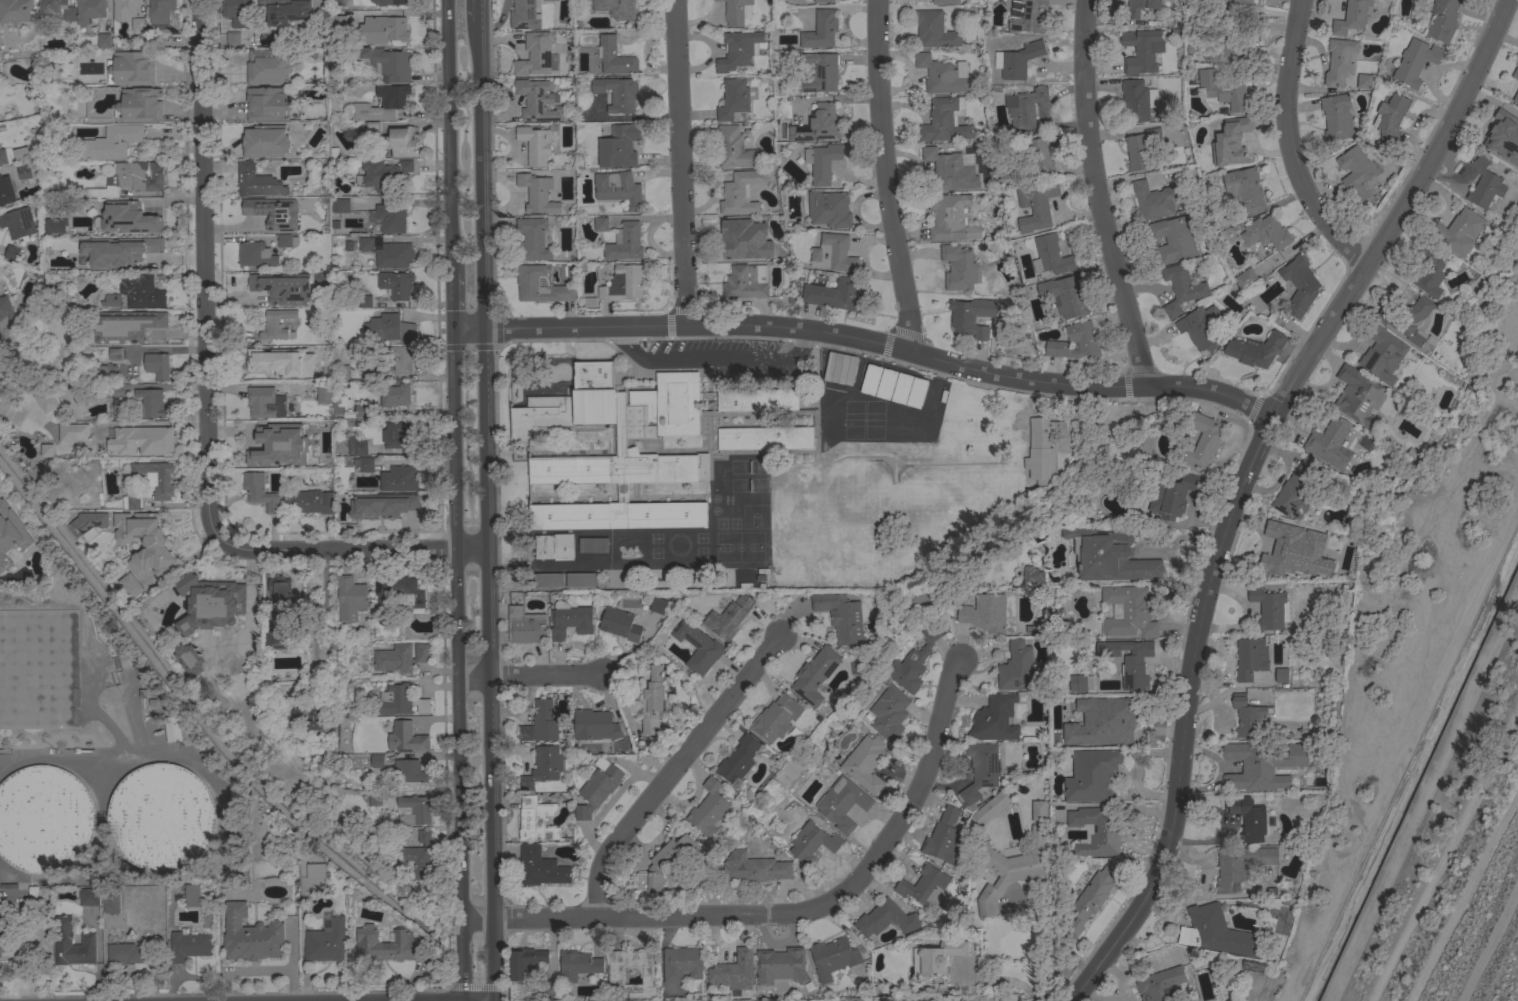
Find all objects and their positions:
building: (548, 0)
building: (1210, 0)
building: (820, 1)
building: (946, 1)
building: (390, 2)
building: (1242, 2)
building: (1140, 6)
building: (611, 7)
building: (125, 8)
building: (236, 8)
building: (57, 9)
building: (90, 10)
road: (477, 10)
building: (15, 11)
building: (285, 11)
building: (735, 11)
building: (160, 12)
building: (524, 15)
building: (1026, 16)
building: (1351, 17)
building: (1442, 19)
building: (138, 25)
building: (385, 29)
building: (934, 29)
building: (820, 30)
building: (233, 38)
building: (104, 40)
building: (580, 44)
building: (1228, 46)
building: (738, 49)
building: (1141, 50)
building: (535, 55)
building: (614, 57)
building: (1017, 60)
building: (1339, 61)
building: (1415, 61)
building: (387, 62)
building: (267, 67)
building: (131, 68)
building: (822, 72)
building: (1515, 73)
building: (940, 75)
building: (1364, 81)
building: (1223, 90)
building: (617, 93)
building: (1516, 97)
building: (733, 99)
building: (538, 100)
building: (1135, 100)
building: (266, 104)
building: (382, 104)
building: (513, 104)
building: (139, 105)
building: (1024, 106)
building: (1336, 117)
building: (1390, 117)
building: (945, 120)
building: (818, 125)
building: (370, 129)
building: (1502, 135)
road: (451, 136)
building: (265, 141)
building: (401, 141)
building: (112, 142)
building: (1231, 142)
building: (536, 143)
road: (1288, 143)
building: (619, 146)
building: (734, 148)
building: (22, 154)
building: (1138, 154)
building: (3, 156)
building: (1039, 158)
road: (679, 162)
building: (822, 162)
building: (950, 170)
building: (1355, 171)
building: (27, 173)
building: (384, 174)
road: (482, 175)
road: (885, 177)
building: (130, 178)
building: (257, 181)
building: (1484, 184)
building: (1244, 187)
building: (618, 188)
building: (6, 191)
building: (741, 192)
building: (538, 193)
road: (1090, 196)
building: (1153, 200)
building: (340, 205)
building: (1035, 206)
building: (829, 208)
building: (274, 212)
building: (391, 217)
building: (951, 217)
building: (127, 219)
building: (18, 223)
building: (341, 224)
building: (601, 224)
building: (55, 225)
building: (1458, 231)
building: (1266, 232)
building: (740, 237)
building: (533, 238)
building: (1173, 238)
building: (287, 240)
building: (625, 242)
building: (149, 246)
building: (12, 252)
building: (389, 253)
building: (833, 253)
building: (256, 254)
building: (1050, 255)
building: (106, 259)
building: (958, 267)
building: (1430, 272)
building: (1246, 279)
building: (527, 281)
building: (746, 282)
building: (623, 283)
building: (396, 284)
building: (1299, 285)
building: (282, 288)
building: (1181, 288)
building: (141, 290)
building: (835, 294)
building: (1064, 296)
building: (1417, 296)
building: (111, 300)
building: (365, 301)
road: (454, 302)
building: (1255, 302)
building: (6, 315)
building: (965, 319)
building: (1410, 321)
building: (277, 324)
building: (125, 325)
building: (1201, 327)
building: (388, 328)
road: (470, 331)
building: (0, 337)
building: (1075, 342)
road: (882, 347)
building: (1255, 349)
building: (114, 353)
building: (1382, 353)
building: (400, 357)
road: (711, 358)
building: (281, 361)
building: (362, 361)
building: (157, 365)
building: (105, 371)
building: (342, 371)
building: (833, 381)
building: (101, 391)
building: (323, 392)
building: (863, 392)
building: (395, 395)
building: (1359, 396)
building: (879, 397)
building: (42, 400)
building: (894, 401)
building: (151, 402)
building: (265, 402)
road: (204, 405)
building: (909, 405)
building: (118, 406)
building: (533, 427)
building: (79, 431)
building: (394, 433)
building: (754, 439)
building: (142, 440)
building: (1201, 440)
building: (1330, 442)
building: (1145, 443)
building: (292, 446)
building: (357, 446)
building: (44, 451)
building: (761, 455)
building: (1033, 462)
building: (364, 464)
building: (156, 478)
building: (399, 479)
road: (1240, 484)
building: (1295, 490)
building: (260, 491)
building: (1172, 495)
building: (307, 501)
building: (131, 502)
building: (381, 505)
park: (890, 513)
building: (10, 517)
building: (90, 521)
building: (144, 542)
building: (1286, 542)
building: (1108, 555)
building: (586, 558)
building: (547, 560)
building: (1324, 567)
building: (21, 572)
building: (1032, 575)
building: (130, 585)
building: (401, 589)
building: (573, 593)
building: (540, 594)
building: (280, 595)
building: (350, 598)
building: (209, 603)
building: (1269, 607)
building: (1128, 611)
building: (984, 612)
building: (719, 621)
road: (317, 622)
building: (561, 624)
building: (1037, 626)
building: (610, 627)
building: (515, 629)
building: (834, 631)
building: (278, 638)
building: (1107, 648)
building: (689, 651)
building: (401, 657)
building: (188, 658)
building: (1250, 658)
road: (486, 665)
building: (905, 665)
road: (458, 667)
building: (1017, 667)
building: (1136, 667)
building: (1281, 675)
road: (532, 676)
building: (1077, 683)
building: (807, 688)
building: (400, 700)
building: (644, 712)
building: (1247, 716)
building: (880, 717)
building: (1119, 717)
building: (995, 718)
building: (320, 722)
building: (173, 728)
building: (766, 731)
building: (531, 733)
building: (586, 735)
building: (406, 737)
building: (1086, 739)
road: (1402, 754)
building: (376, 761)
building: (1262, 765)
building: (856, 766)
building: (539, 768)
building: (728, 768)
building: (980, 770)
building: (409, 771)
road: (668, 771)
building: (1092, 776)
building: (533, 780)
road: (1421, 791)
building: (375, 798)
building: (587, 802)
building: (833, 807)
building: (991, 807)
building: (414, 810)
building: (1038, 810)
building: (699, 812)
building: (161, 817)
storage tank: (161, 817)
building: (44, 819)
storage tank: (44, 819)
building: (1249, 819)
building: (1107, 829)
building: (526, 833)
building: (942, 837)
road: (1200, 845)
building: (802, 846)
building: (369, 853)
road: (1445, 854)
building: (420, 856)
building: (1240, 864)
building: (658, 866)
building: (540, 867)
building: (1010, 868)
building: (316, 871)
building: (749, 871)
building: (530, 881)
building: (924, 886)
road: (1463, 892)
building: (33, 894)
building: (191, 895)
building: (89, 897)
building: (1092, 897)
building: (111, 901)
road: (787, 912)
building: (885, 919)
building: (1217, 932)
building: (250, 935)
building: (62, 941)
building: (326, 941)
road: (1491, 943)
building: (390, 944)
building: (189, 945)
road: (1045, 948)
building: (127, 953)
building: (939, 956)
building: (833, 957)
building: (525, 962)
building: (682, 963)
building: (577, 964)
building: (631, 966)
building: (780, 966)
building: (1253, 966)
building: (734, 971)
road: (1003, 978)
building: (1160, 984)
building: (548, 989)

